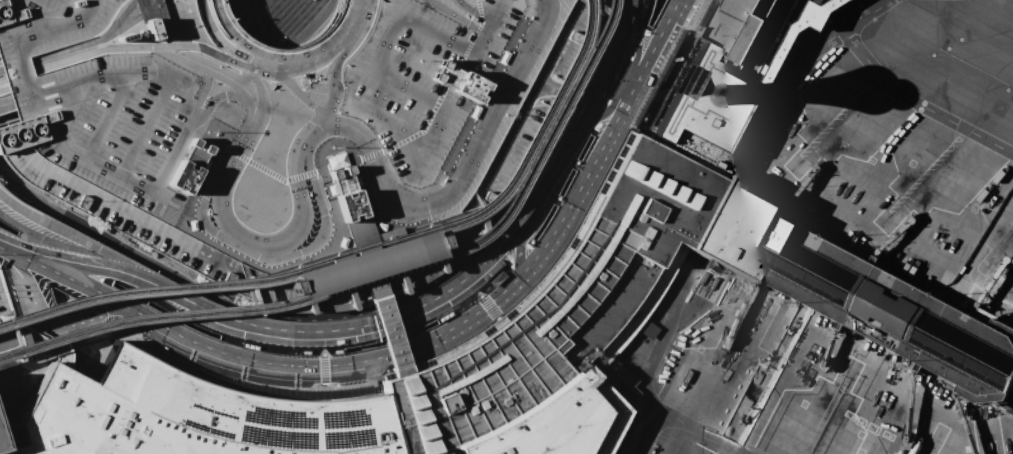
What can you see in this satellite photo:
road: (133, 0)
road: (162, 1)
road: (545, 2)
road: (142, 5)
road: (361, 5)
road: (149, 9)
road: (47, 10)
road: (674, 10)
road: (842, 10)
road: (123, 11)
road: (472, 12)
road: (452, 16)
road: (127, 20)
road: (484, 28)
road: (228, 30)
road: (218, 33)
road: (434, 34)
road: (87, 40)
road: (383, 41)
road: (640, 46)
road: (212, 51)
road: (176, 65)
road: (647, 65)
road: (332, 72)
airport terminal: (718, 72)
building: (718, 72)
road: (790, 74)
road: (2, 82)
road: (286, 82)
airport terminal: (766, 86)
building: (766, 86)
road: (407, 87)
road: (551, 87)
road: (595, 87)
road: (30, 89)
road: (501, 92)
road: (240, 94)
road: (576, 96)
road: (211, 100)
road: (575, 100)
road: (5, 101)
road: (917, 105)
road: (609, 109)
road: (316, 110)
building: (276, 111)
parking lot: (276, 111)
road: (107, 113)
road: (7, 114)
road: (377, 119)
road: (145, 122)
road: (341, 123)
road: (60, 127)
road: (434, 127)
road: (179, 132)
road: (567, 133)
road: (403, 139)
road: (226, 165)
road: (118, 173)
road: (9, 189)
airport apron: (899, 190)
road: (304, 193)
road: (9, 194)
road: (390, 202)
road: (3, 221)
road: (3, 225)
road: (70, 226)
airport: (506, 227)
road: (66, 232)
road: (30, 236)
railway: (434, 236)
road: (9, 246)
railway: (358, 251)
road: (518, 254)
road: (97, 255)
road: (13, 262)
building: (368, 264)
airport terminal: (798, 264)
road: (369, 267)
railway: (373, 275)
road: (452, 280)
road: (522, 282)
road: (92, 290)
road: (113, 309)
road: (405, 315)
road: (496, 317)
road: (432, 322)
road: (48, 323)
road: (654, 332)
airport terminal: (4, 340)
building: (4, 340)
airport terminal: (532, 340)
building: (532, 340)
building: (37, 346)
road: (252, 362)
airport apron: (820, 388)
road: (650, 432)
road: (703, 432)
airport terminal: (1, 450)
building: (1, 450)

